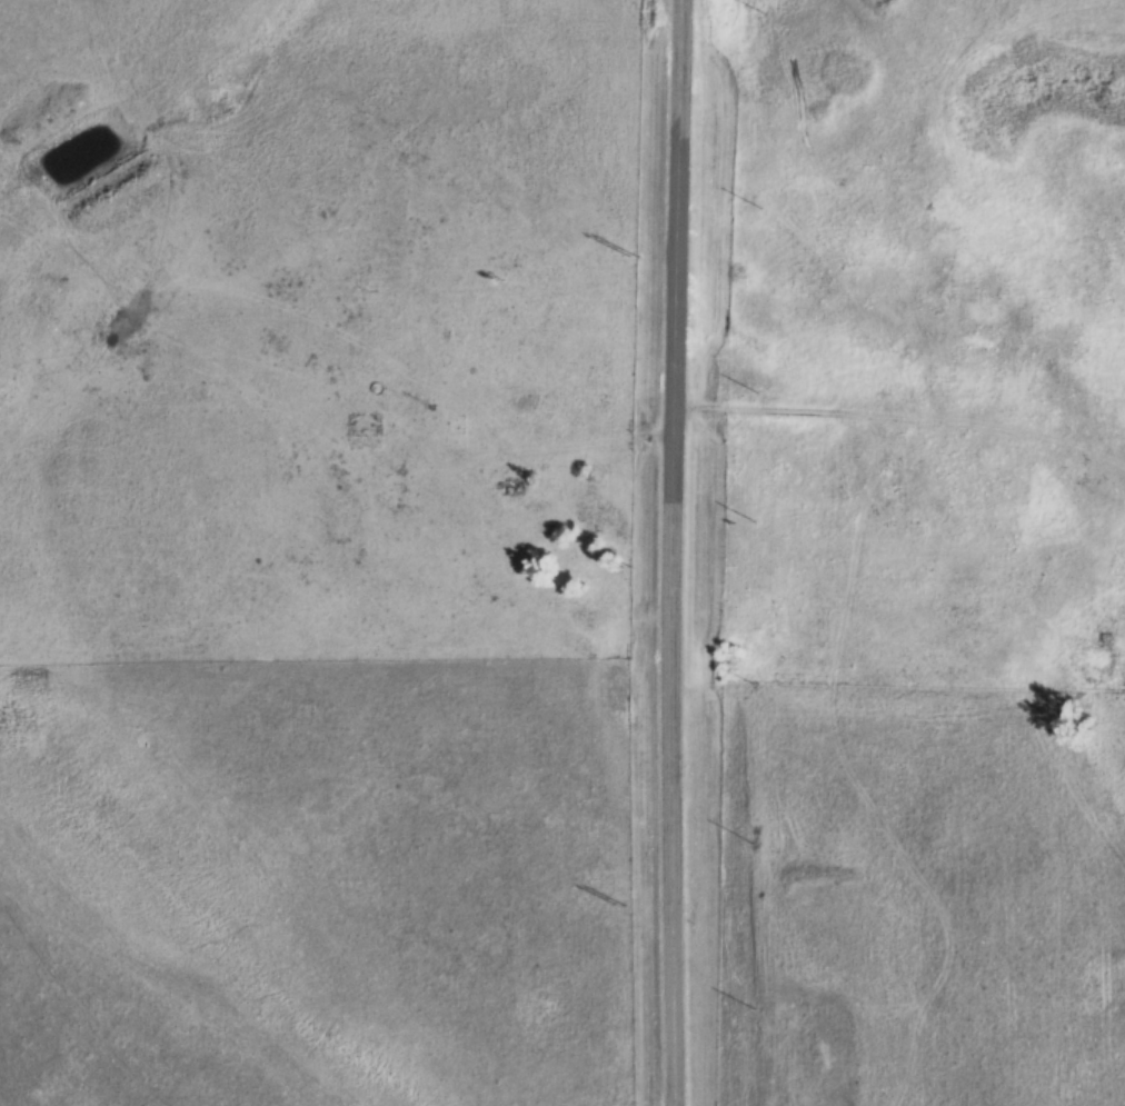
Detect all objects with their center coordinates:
power tower: (629, 255)
road: (670, 552)
power tower: (619, 906)

